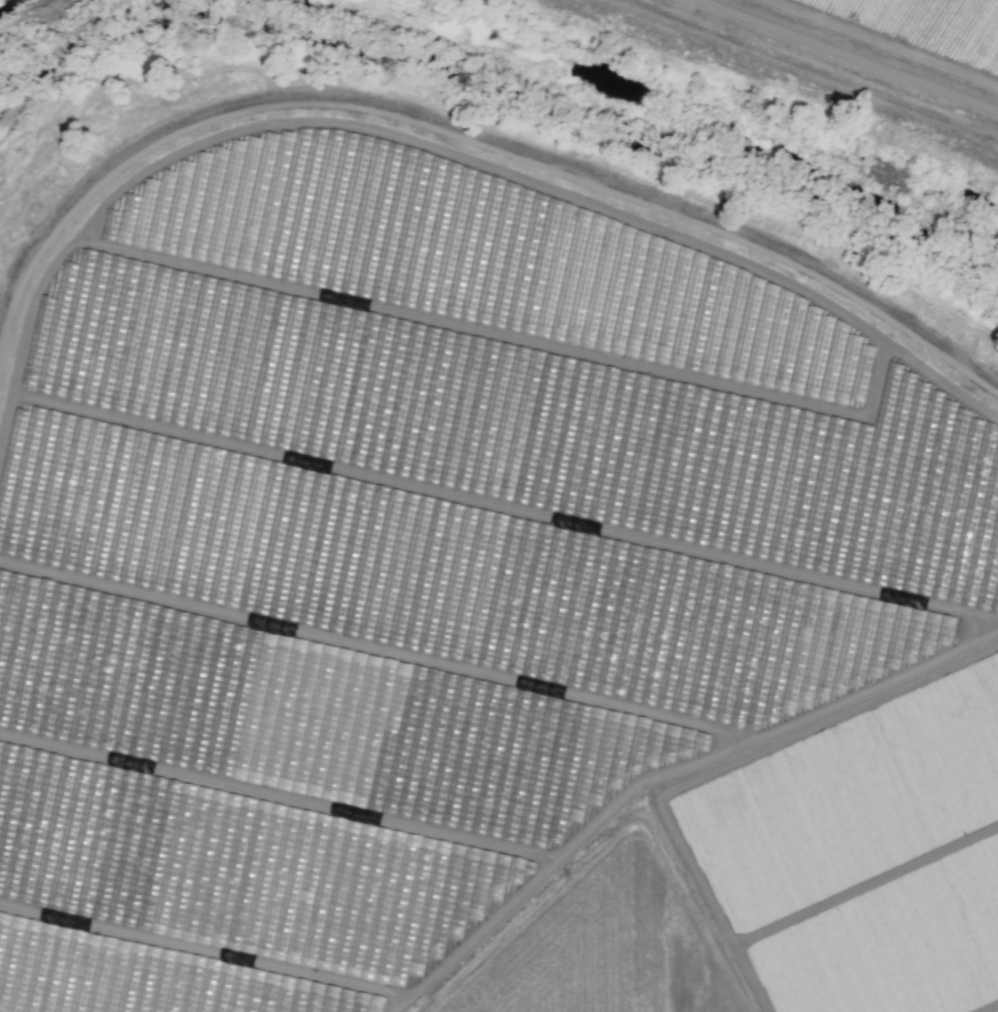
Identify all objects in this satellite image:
crop: (28, 31)
river: (33, 36)
crop: (9, 91)
river: (723, 121)
crop: (459, 599)
crop: (890, 941)

